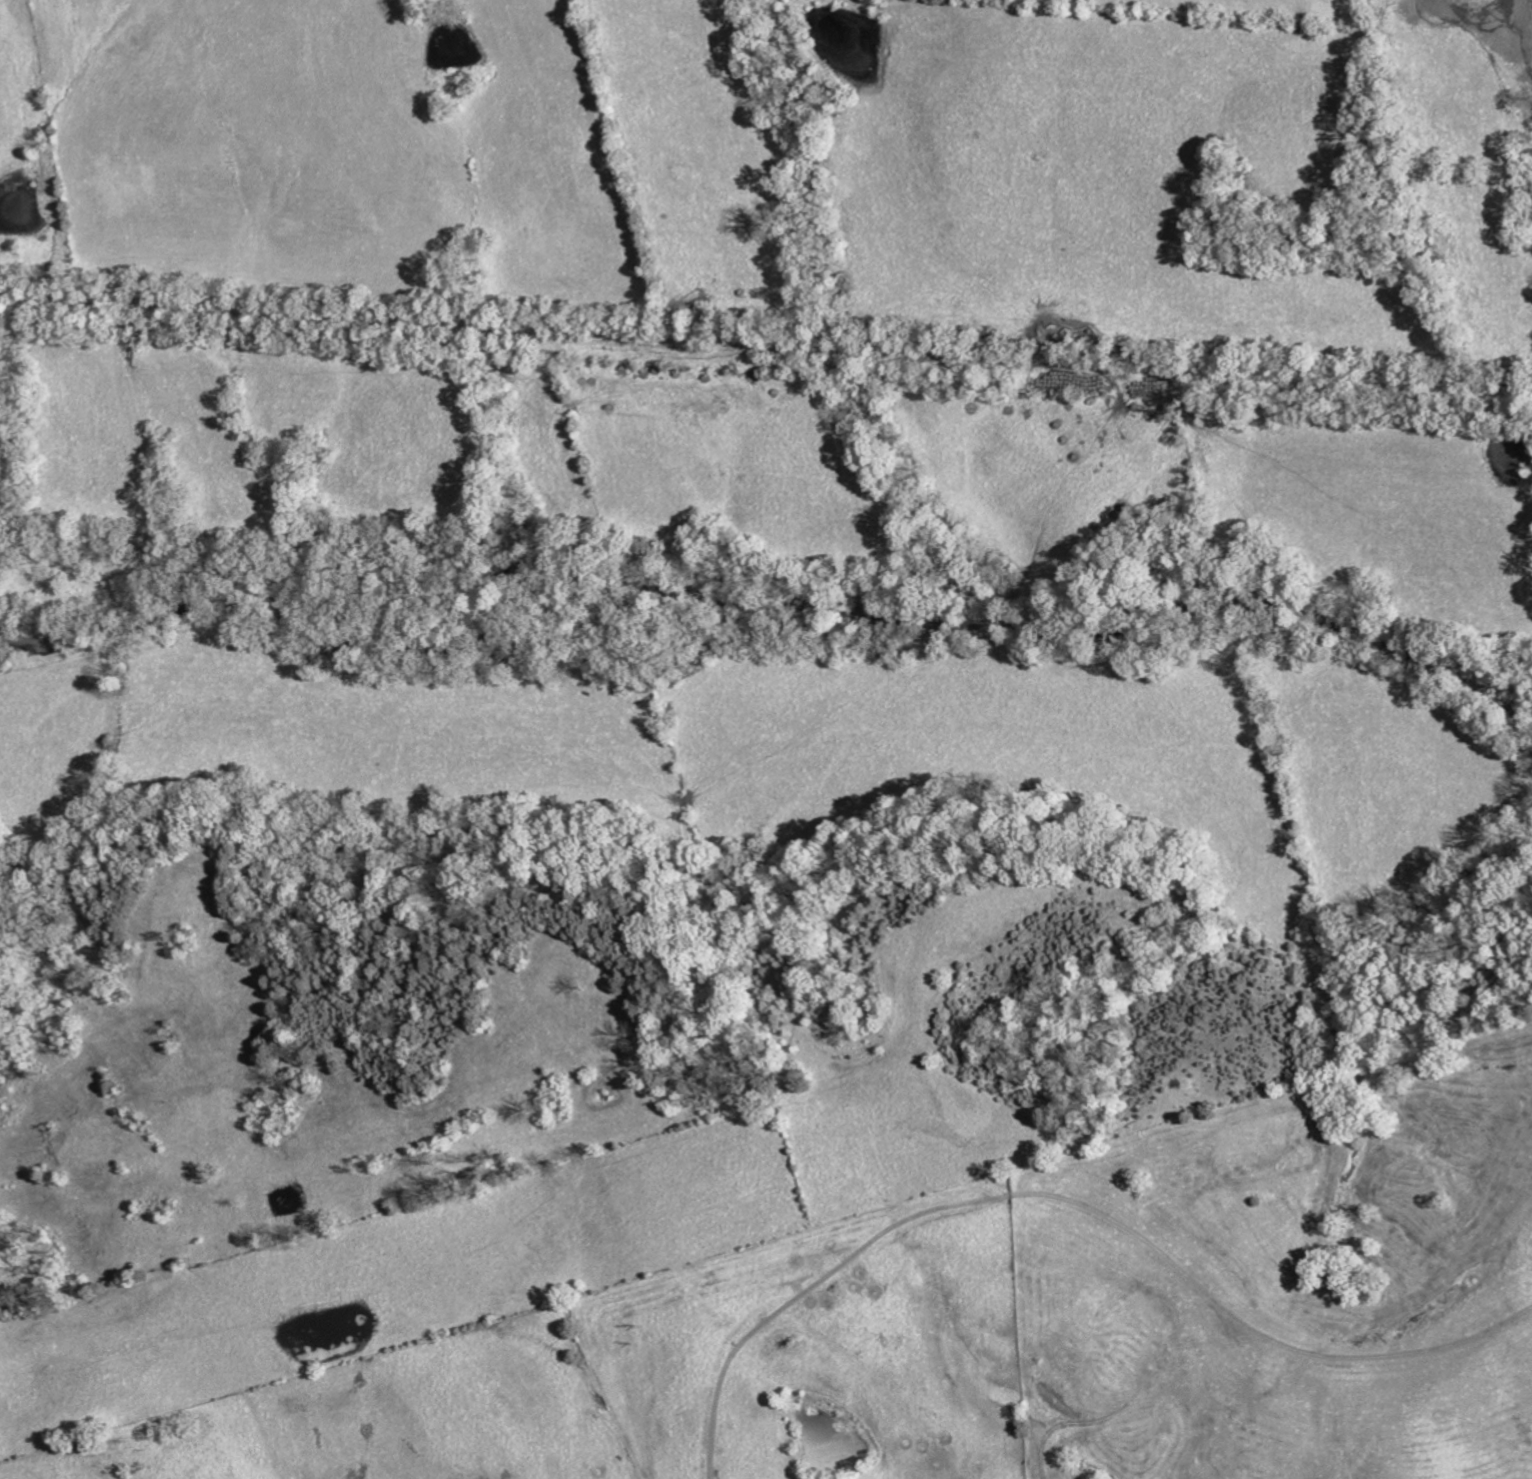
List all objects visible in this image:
road: (766, 368)
road: (1071, 1209)

